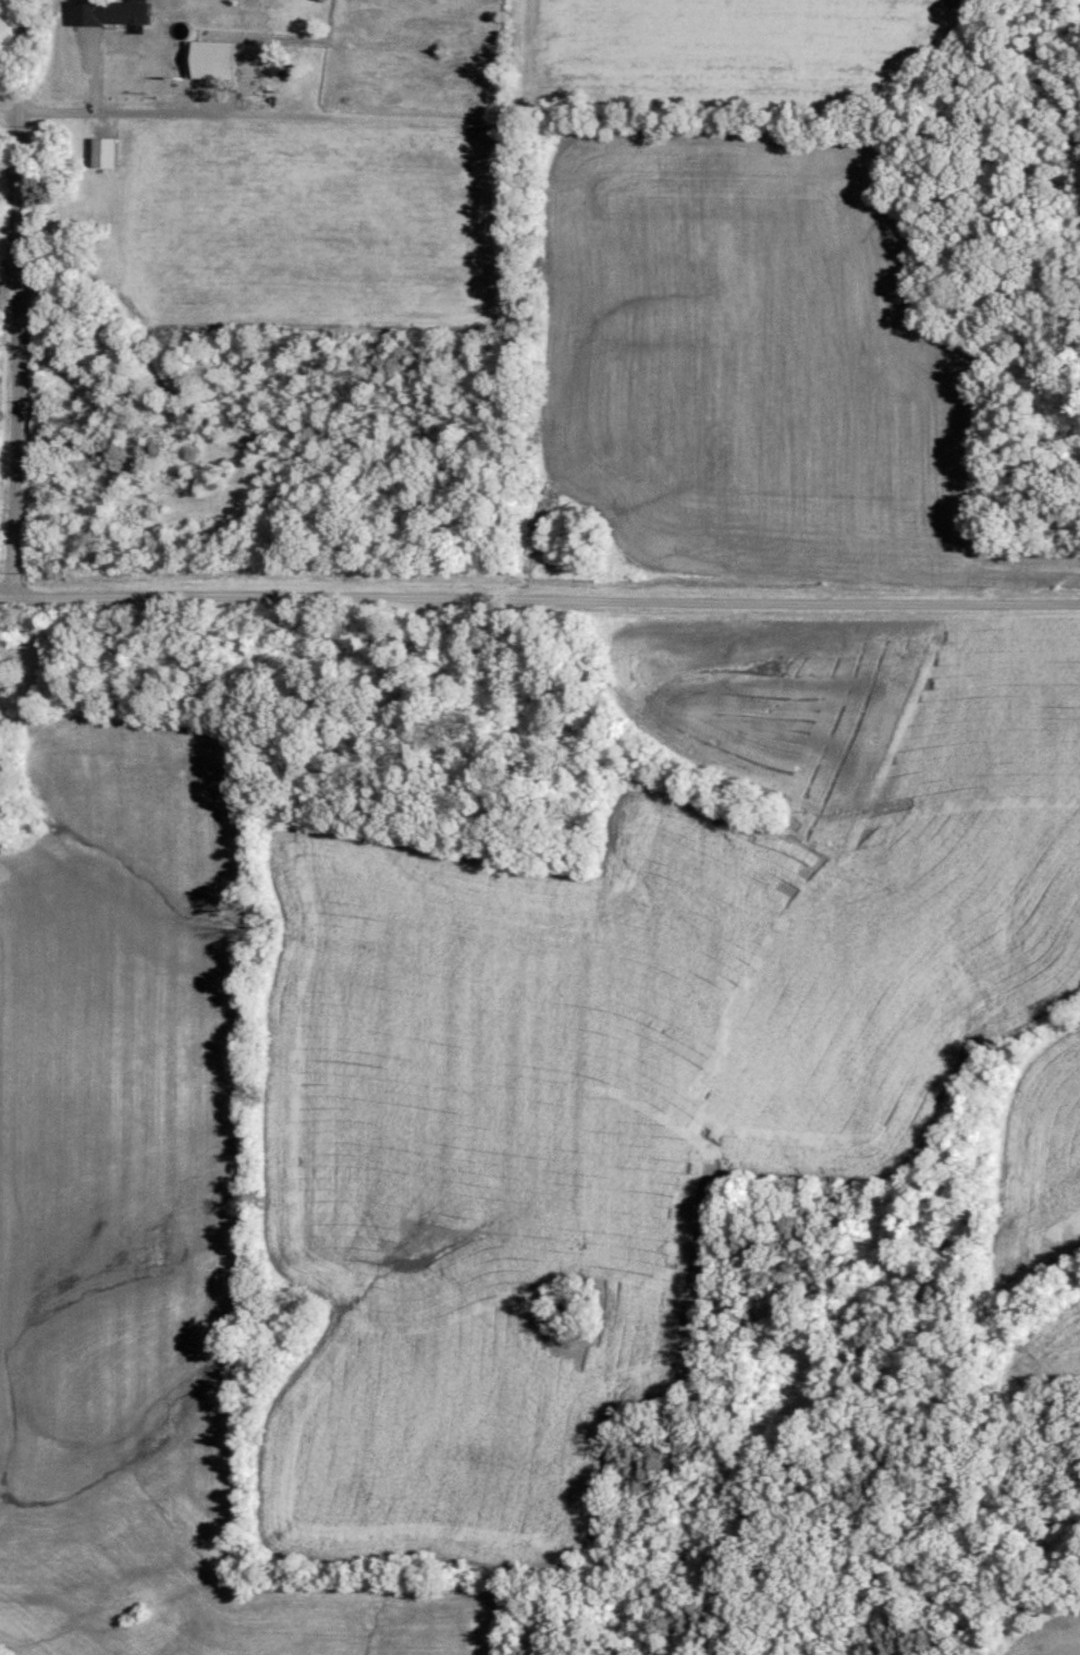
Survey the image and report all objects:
building: (126, 13)
building: (209, 60)
road: (37, 95)
building: (102, 153)
road: (14, 294)
road: (539, 597)

